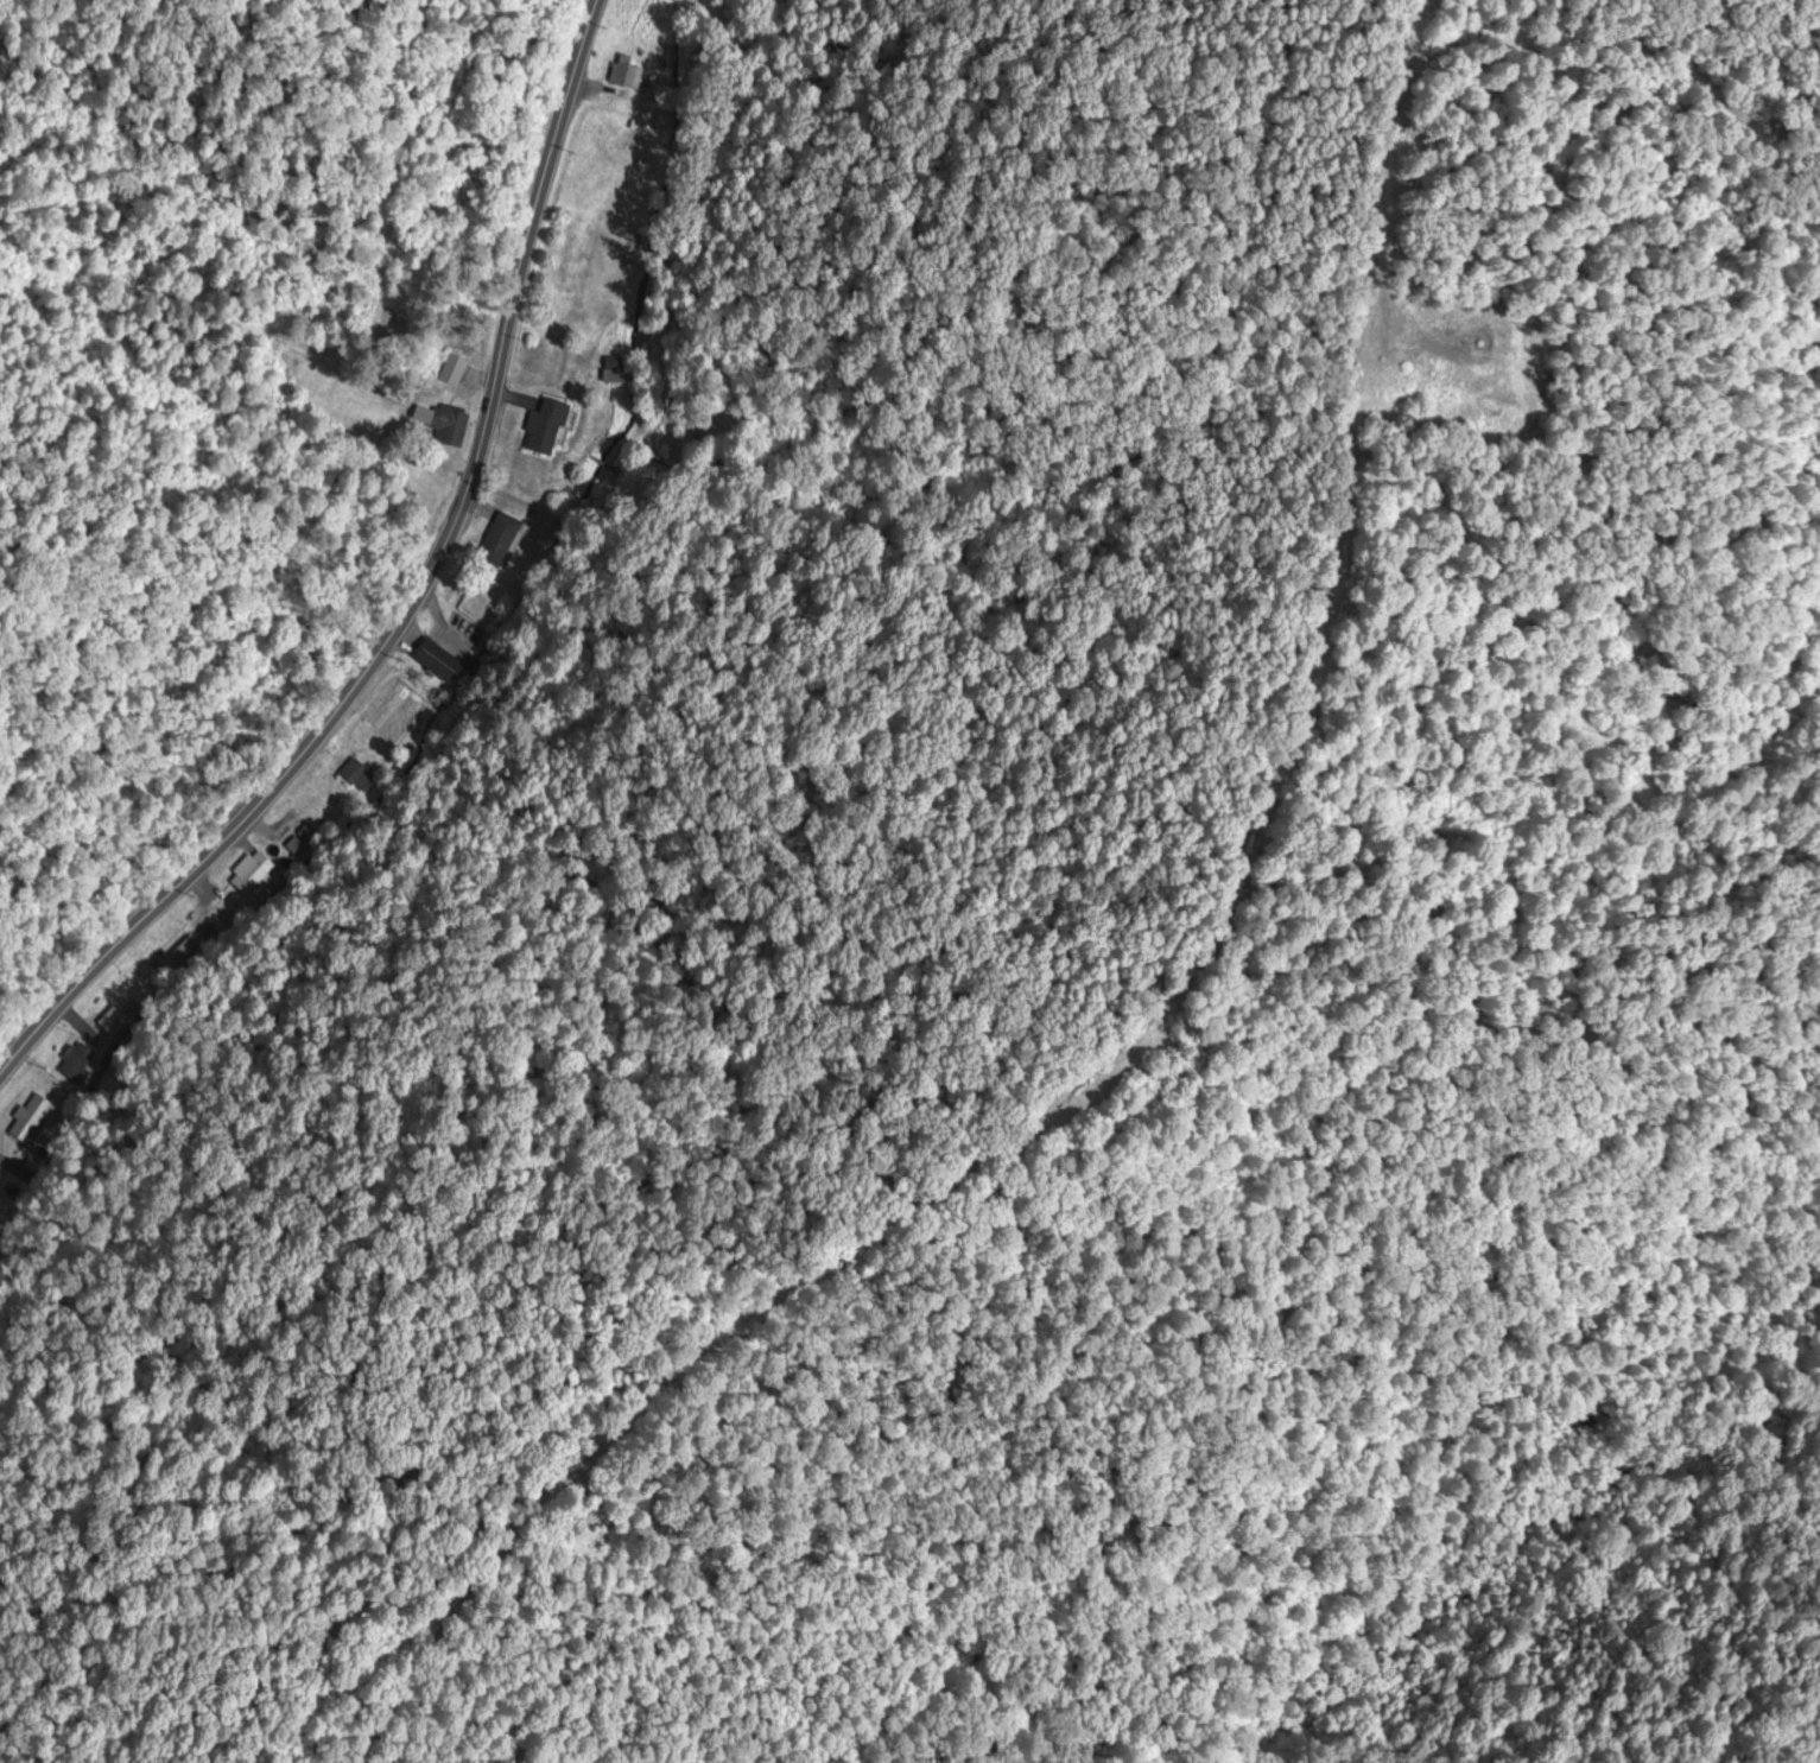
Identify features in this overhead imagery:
building: (624, 75)
building: (452, 370)
building: (613, 372)
building: (540, 427)
building: (449, 429)
road: (413, 602)
building: (435, 661)
building: (356, 776)
building: (309, 835)
building: (251, 875)
building: (175, 956)
building: (113, 1022)
road: (1159, 1025)
building: (75, 1065)
building: (27, 1120)

